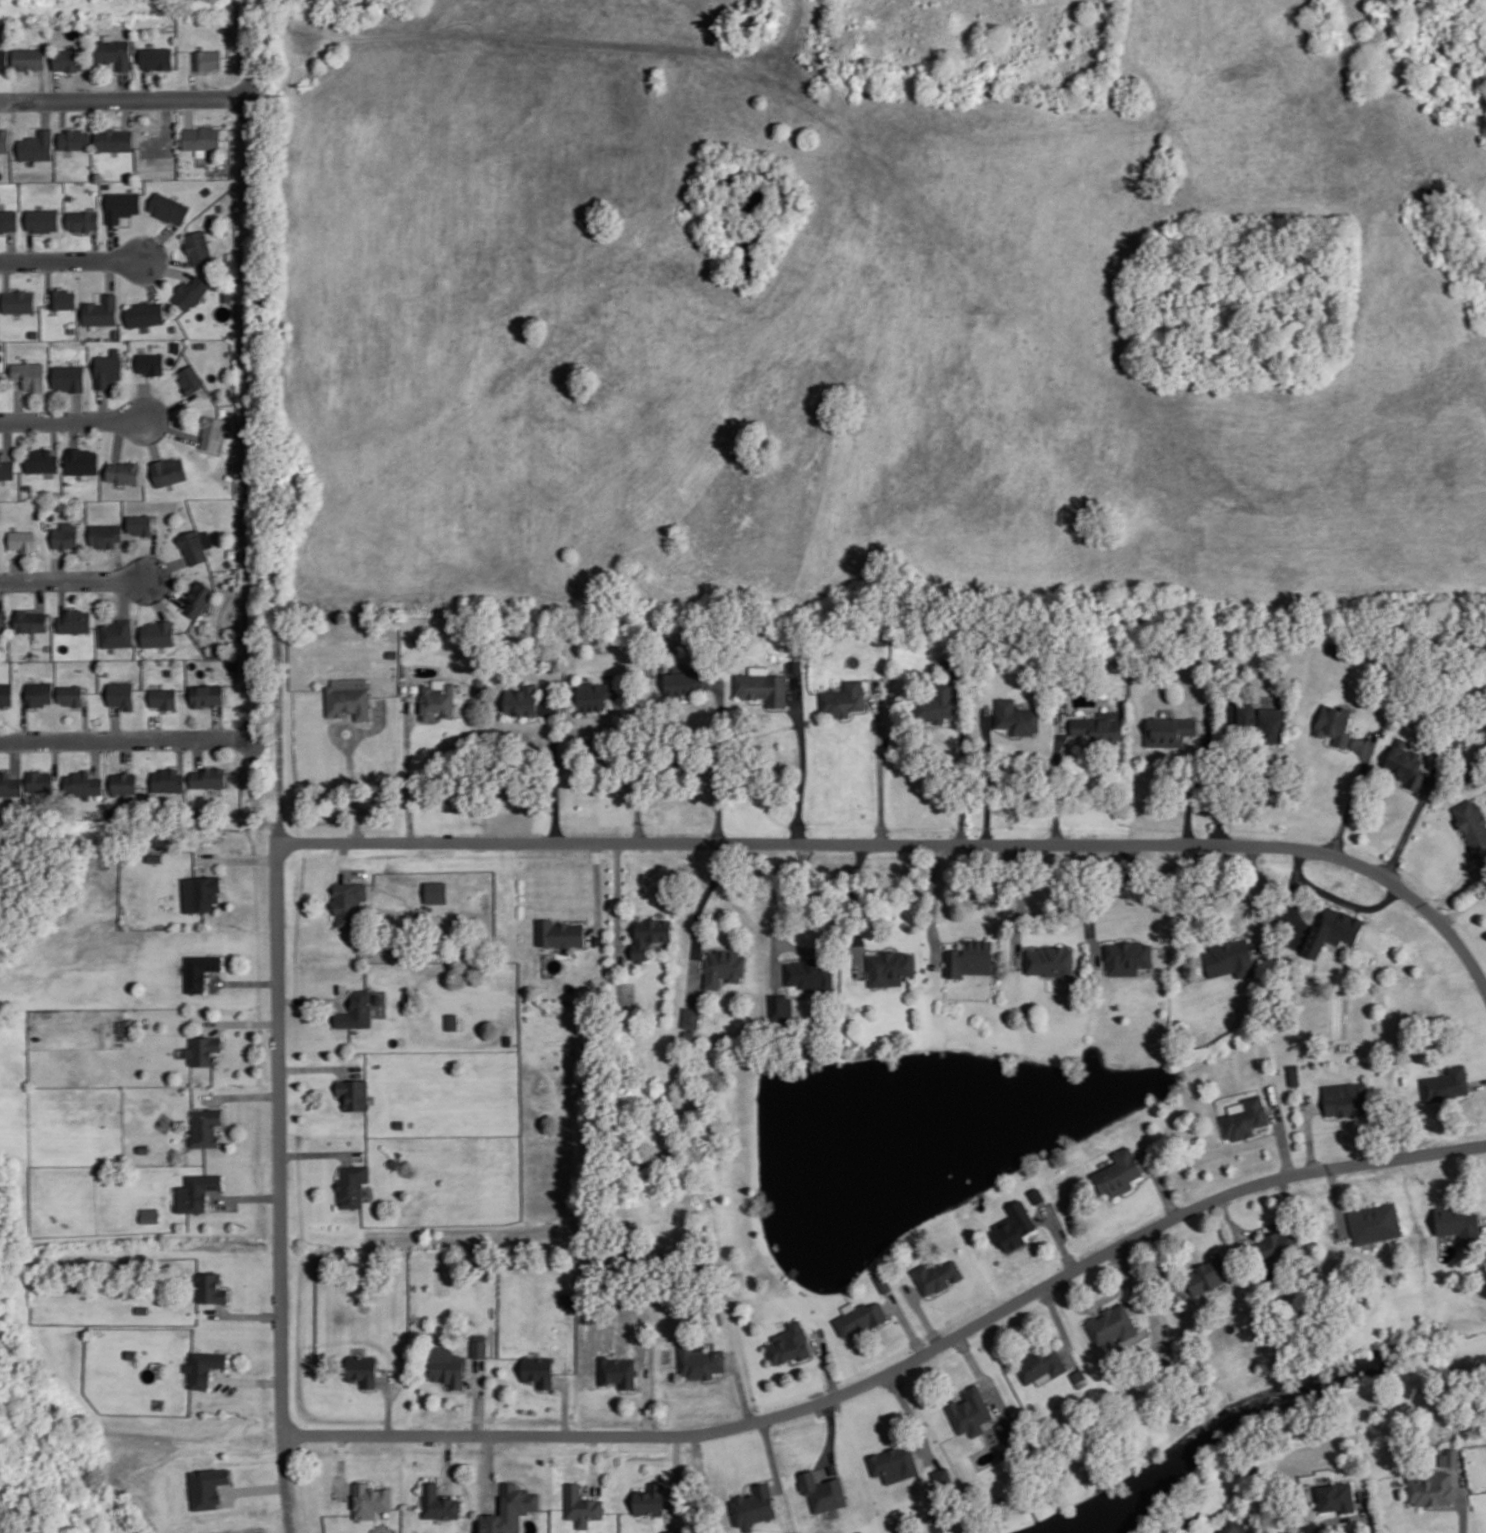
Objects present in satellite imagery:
road: (282, 7)
building: (222, 28)
building: (115, 51)
building: (29, 57)
building: (70, 57)
building: (155, 57)
building: (3, 58)
building: (207, 59)
road: (151, 71)
road: (110, 72)
road: (64, 73)
road: (193, 75)
road: (144, 83)
road: (57, 84)
road: (124, 84)
road: (42, 85)
road: (114, 99)
road: (126, 112)
road: (189, 112)
road: (44, 113)
road: (62, 113)
road: (119, 124)
road: (31, 125)
building: (200, 136)
building: (4, 138)
building: (74, 138)
building: (114, 138)
building: (159, 143)
building: (37, 145)
building: (207, 190)
building: (71, 196)
building: (121, 204)
building: (168, 207)
building: (42, 217)
building: (8, 218)
building: (82, 219)
road: (126, 224)
road: (86, 232)
road: (39, 233)
road: (157, 239)
road: (113, 240)
street lamp: (165, 240)
road: (30, 244)
road: (94, 244)
road: (11, 245)
building: (196, 246)
road: (165, 258)
road: (71, 259)
road: (166, 267)
road: (6, 274)
road: (109, 274)
road: (148, 279)
road: (47, 280)
road: (97, 290)
building: (189, 291)
building: (226, 293)
building: (63, 297)
building: (19, 299)
building: (101, 309)
building: (145, 312)
building: (173, 326)
building: (72, 328)
building: (114, 331)
building: (34, 332)
building: (199, 343)
building: (176, 345)
building: (1, 346)
building: (152, 361)
building: (108, 367)
building: (29, 373)
building: (69, 376)
building: (189, 377)
road: (19, 400)
road: (143, 400)
road: (103, 404)
road: (77, 405)
road: (169, 406)
street lamp: (171, 411)
road: (71, 420)
road: (170, 428)
building: (211, 430)
road: (73, 432)
road: (54, 436)
road: (150, 437)
road: (118, 438)
road: (7, 439)
road: (3, 447)
building: (42, 459)
building: (82, 459)
building: (7, 466)
building: (169, 469)
building: (125, 471)
building: (28, 486)
building: (50, 512)
building: (32, 515)
building: (141, 522)
building: (106, 533)
building: (65, 534)
road: (146, 536)
building: (23, 538)
building: (196, 543)
building: (232, 552)
road: (151, 554)
road: (118, 560)
building: (228, 562)
road: (164, 566)
road: (16, 568)
road: (57, 568)
road: (72, 579)
road: (164, 588)
road: (40, 594)
road: (62, 595)
road: (123, 597)
road: (155, 597)
building: (200, 597)
building: (30, 619)
building: (75, 620)
building: (3, 621)
building: (118, 632)
building: (159, 632)
building: (48, 646)
building: (1331, 647)
building: (192, 649)
building: (218, 651)
building: (391, 652)
building: (796, 665)
building: (950, 666)
building: (105, 670)
building: (683, 680)
building: (762, 687)
building: (39, 692)
building: (5, 693)
building: (71, 693)
building: (122, 694)
building: (208, 694)
building: (596, 694)
building: (164, 696)
building: (347, 696)
building: (843, 698)
building: (522, 699)
road: (871, 699)
building: (436, 700)
building: (940, 701)
road: (76, 707)
road: (33, 708)
road: (772, 708)
road: (853, 711)
building: (1016, 716)
road: (86, 719)
road: (217, 720)
road: (25, 721)
road: (115, 721)
building: (1260, 722)
building: (1334, 723)
road: (338, 725)
building: (1099, 726)
road: (155, 727)
building: (1168, 729)
road: (188, 737)
building: (1452, 737)
road: (58, 739)
road: (1359, 744)
road: (126, 748)
road: (1185, 749)
street lamp: (185, 750)
road: (198, 752)
road: (180, 754)
road: (96, 756)
road: (15, 757)
road: (56, 757)
road: (803, 758)
road: (722, 759)
road: (350, 760)
road: (636, 760)
road: (880, 761)
road: (965, 762)
building: (1406, 763)
road: (555, 766)
road: (408, 770)
road: (1219, 771)
road: (989, 775)
building: (210, 776)
road: (1056, 776)
building: (41, 779)
building: (168, 779)
building: (125, 781)
road: (1193, 781)
building: (84, 782)
building: (10, 783)
road: (1409, 788)
road: (1353, 792)
building: (111, 811)
road: (1411, 823)
building: (1472, 825)
road: (860, 842)
road: (1463, 846)
building: (156, 857)
road: (242, 859)
road: (344, 859)
road: (1458, 885)
road: (597, 889)
building: (201, 891)
building: (436, 892)
road: (1291, 894)
road: (1257, 898)
road: (617, 899)
road: (1346, 900)
building: (350, 903)
road: (1015, 903)
road: (1092, 904)
road: (932, 905)
road: (1463, 905)
road: (855, 909)
road: (780, 913)
road: (697, 918)
building: (1331, 930)
building: (558, 932)
building: (649, 934)
road: (1459, 943)
road: (796, 947)
building: (1125, 955)
building: (1229, 956)
building: (969, 957)
building: (1048, 960)
building: (722, 966)
building: (889, 967)
building: (200, 970)
building: (810, 973)
road: (245, 981)
road: (313, 999)
building: (562, 1002)
building: (780, 1006)
building: (356, 1009)
building: (690, 1016)
building: (451, 1020)
road: (243, 1022)
building: (124, 1025)
building: (687, 1034)
building: (204, 1048)
road: (318, 1067)
building: (1293, 1073)
road: (1477, 1082)
building: (1445, 1083)
road: (279, 1085)
building: (353, 1092)
road: (241, 1094)
building: (1345, 1097)
building: (1246, 1117)
building: (398, 1123)
building: (206, 1126)
road: (1281, 1132)
road: (1309, 1132)
road: (1262, 1134)
building: (144, 1148)
road: (320, 1153)
building: (399, 1153)
building: (394, 1162)
street lamp: (1422, 1164)
building: (1119, 1171)
road: (1160, 1183)
building: (351, 1184)
road: (1138, 1184)
building: (197, 1190)
building: (1037, 1194)
road: (246, 1196)
road: (1336, 1199)
building: (150, 1216)
building: (1456, 1219)
road: (1484, 1221)
building: (1373, 1222)
building: (1014, 1226)
road: (1263, 1227)
road: (1059, 1236)
building: (1275, 1242)
road: (1162, 1260)
building: (1208, 1273)
building: (936, 1275)
road: (1132, 1279)
building: (883, 1281)
building: (211, 1286)
street lamp: (1057, 1289)
road: (915, 1292)
road: (934, 1295)
road: (1094, 1303)
road: (890, 1305)
building: (142, 1308)
road: (1096, 1309)
road: (245, 1313)
road: (922, 1314)
building: (860, 1317)
road: (888, 1320)
road: (1155, 1320)
road: (906, 1322)
building: (1110, 1322)
road: (1060, 1324)
building: (789, 1342)
road: (815, 1344)
building: (479, 1347)
building: (131, 1353)
road: (804, 1359)
building: (700, 1361)
road: (826, 1362)
building: (1040, 1362)
building: (447, 1364)
road: (903, 1364)
building: (205, 1365)
building: (1167, 1367)
building: (362, 1368)
building: (538, 1369)
building: (616, 1370)
road: (981, 1374)
road: (718, 1377)
building: (1080, 1377)
road: (472, 1378)
road: (249, 1379)
road: (641, 1380)
road: (740, 1387)
road: (458, 1389)
road: (544, 1390)
road: (628, 1390)
road: (480, 1396)
road: (647, 1402)
road: (389, 1403)
road: (565, 1406)
street lamp: (760, 1409)
building: (970, 1410)
road: (912, 1414)
street lamp: (497, 1417)
building: (1005, 1427)
road: (830, 1437)
building: (1452, 1456)
road: (341, 1463)
road: (448, 1463)
road: (593, 1463)
building: (893, 1463)
road: (488, 1472)
road: (776, 1474)
building: (941, 1475)
road: (507, 1478)
road: (676, 1480)
road: (756, 1480)
road: (702, 1483)
building: (1429, 1486)
building: (208, 1487)
building: (822, 1491)
building: (1228, 1491)
building: (1336, 1496)
building: (650, 1498)
building: (369, 1499)
road: (1462, 1501)
building: (438, 1502)
building: (581, 1504)
building: (753, 1505)
road: (1442, 1507)
building: (508, 1509)
road: (1365, 1511)
road: (1337, 1517)
building: (1231, 1524)
building: (671, 1531)
building: (859, 1531)
building: (1207, 1531)
building: (793, 1532)

